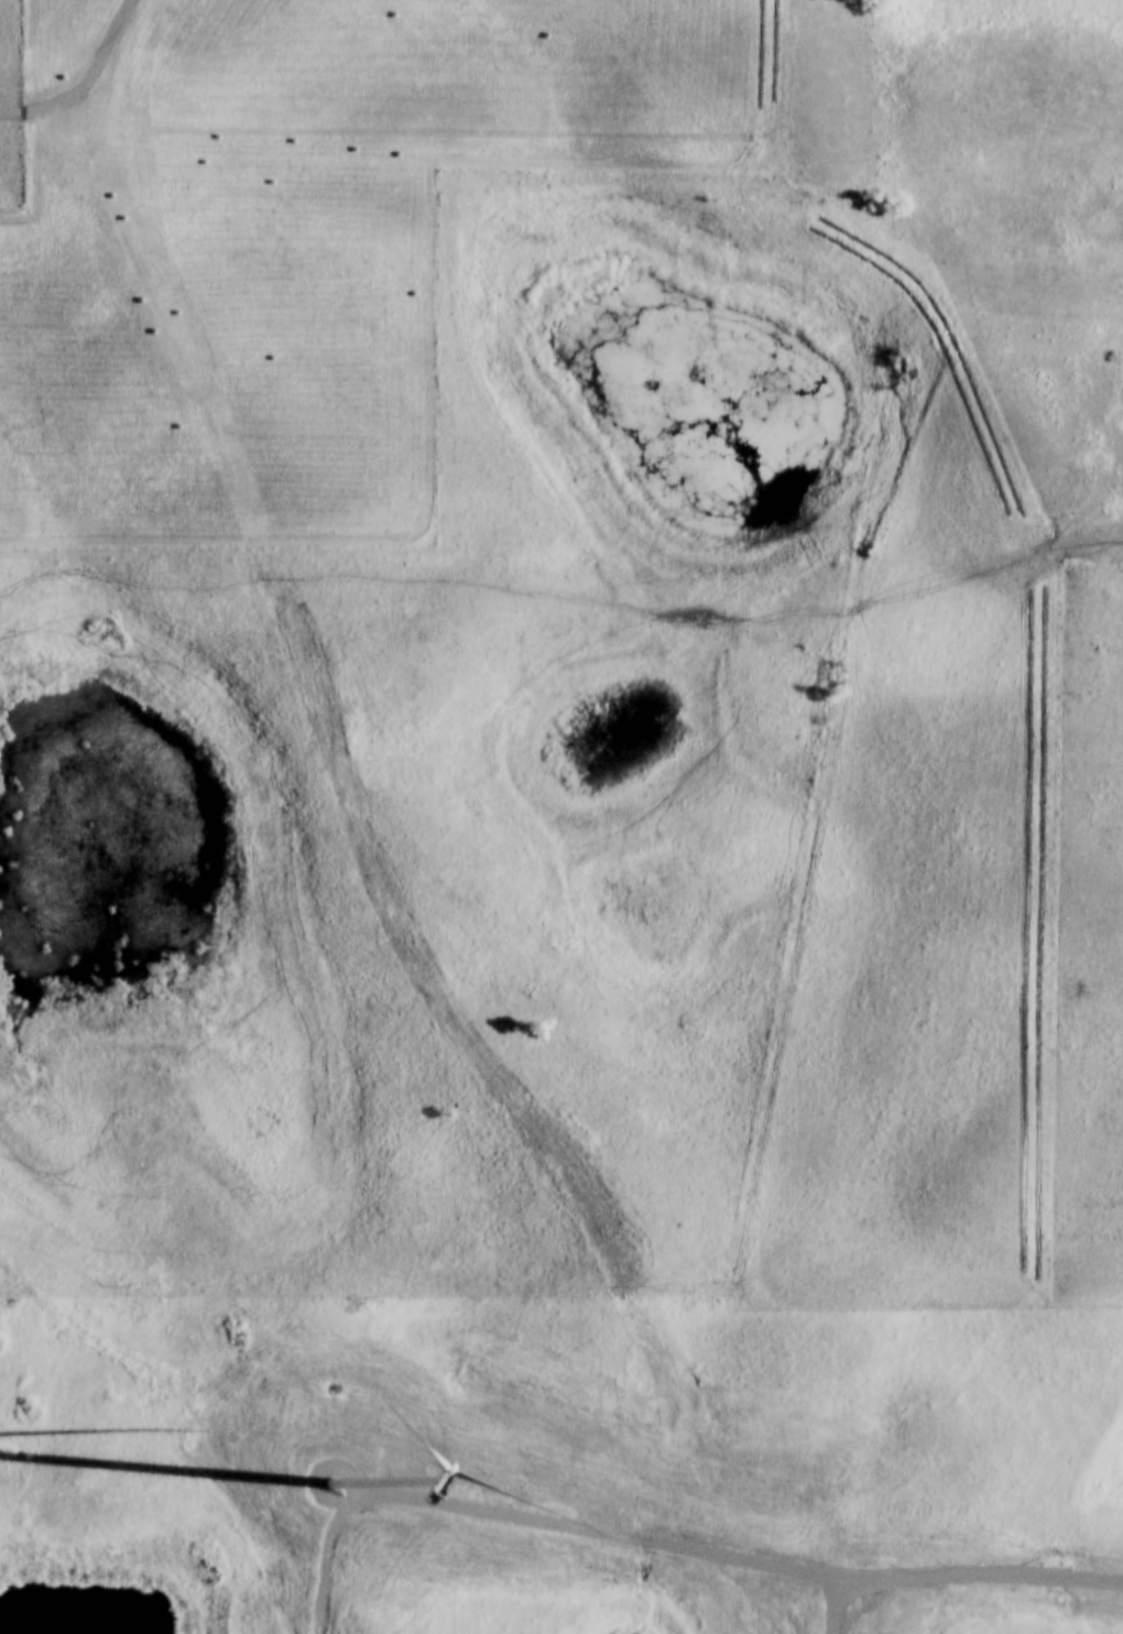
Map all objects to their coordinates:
road: (87, 80)
wind turbine: (323, 1483)
road: (953, 1593)

